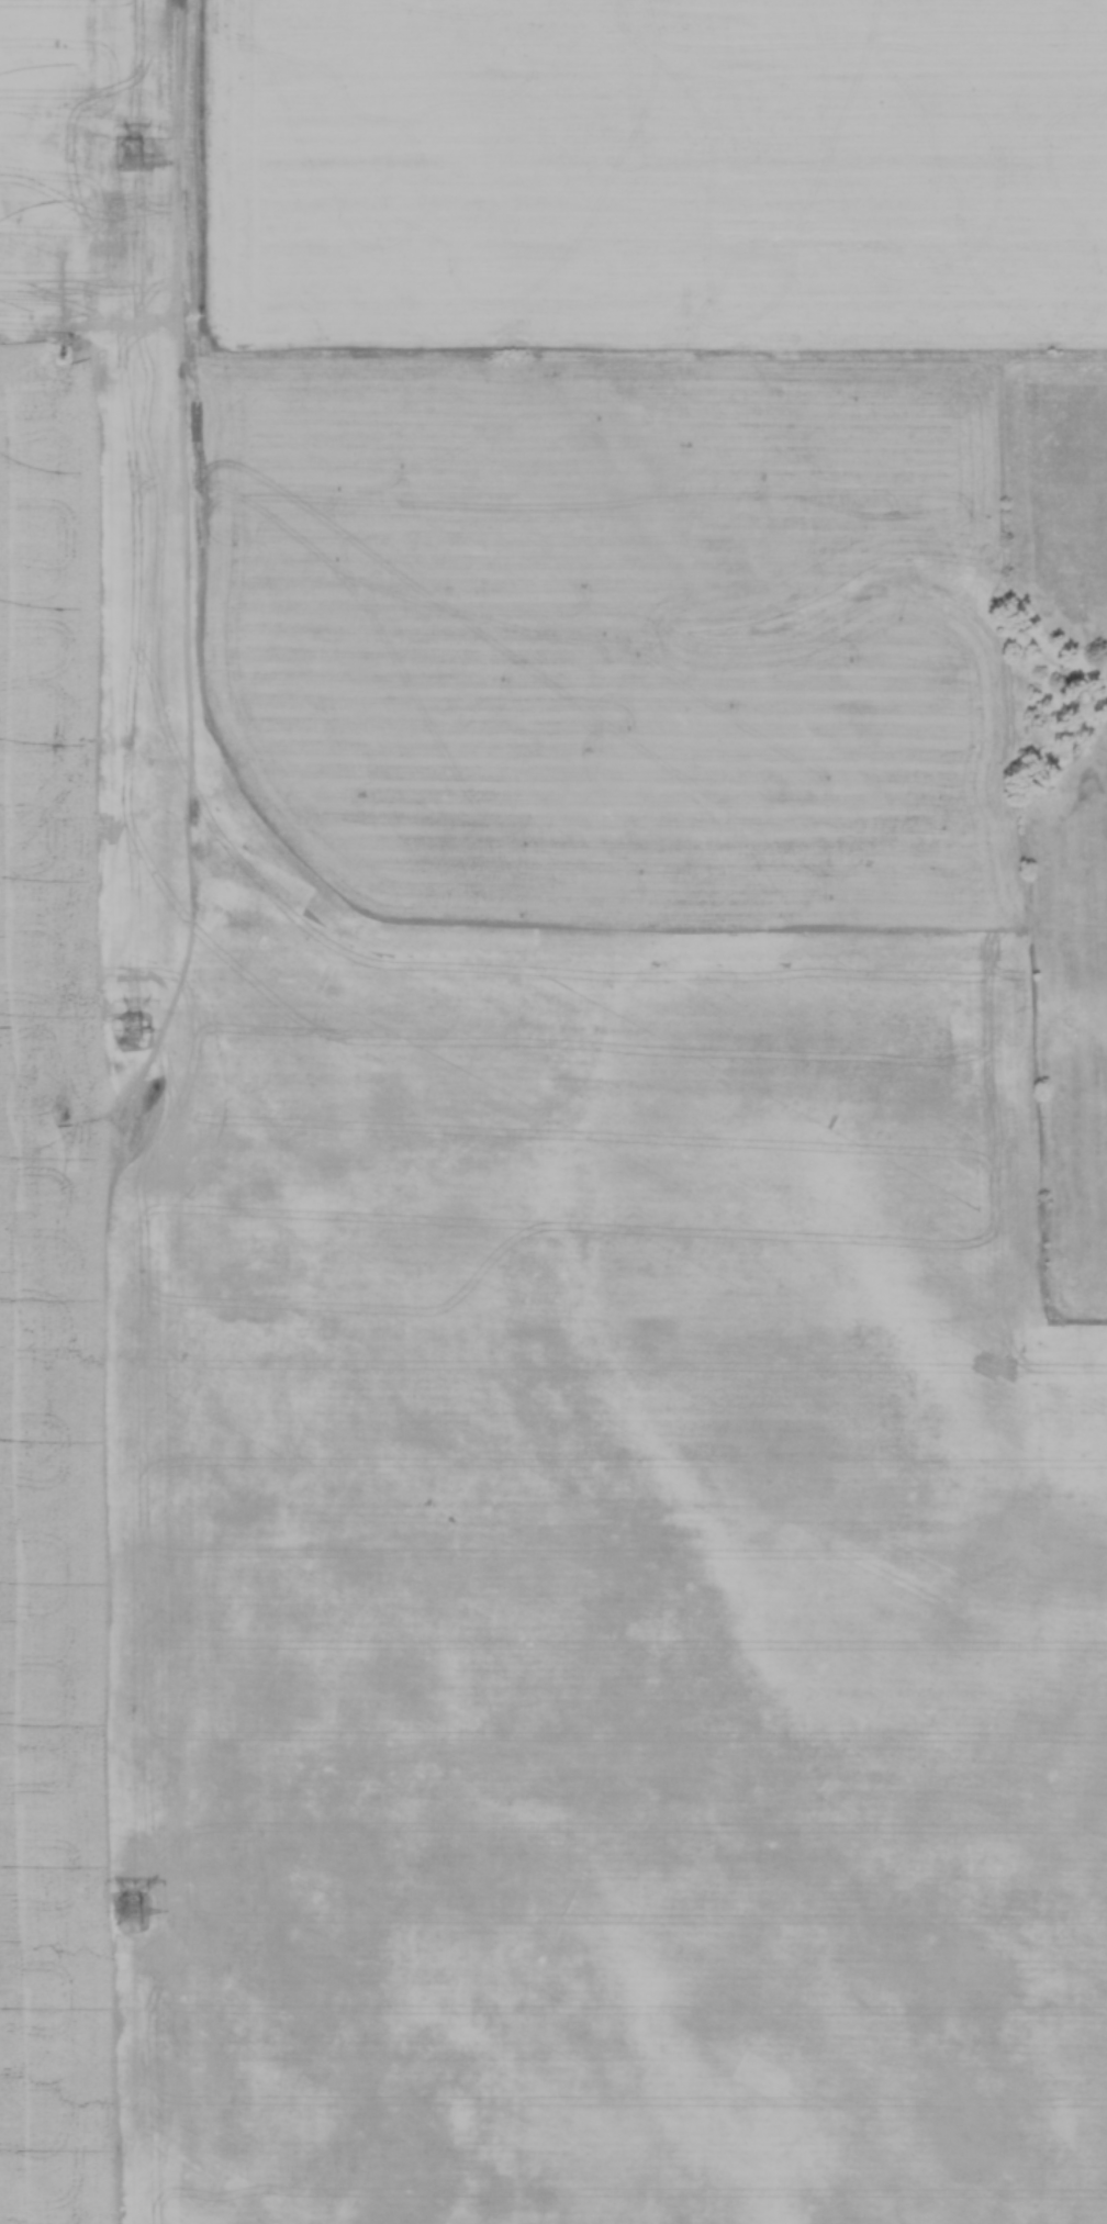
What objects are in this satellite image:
power tower: (131, 156)
power tower: (134, 1030)
power tower: (132, 1913)

